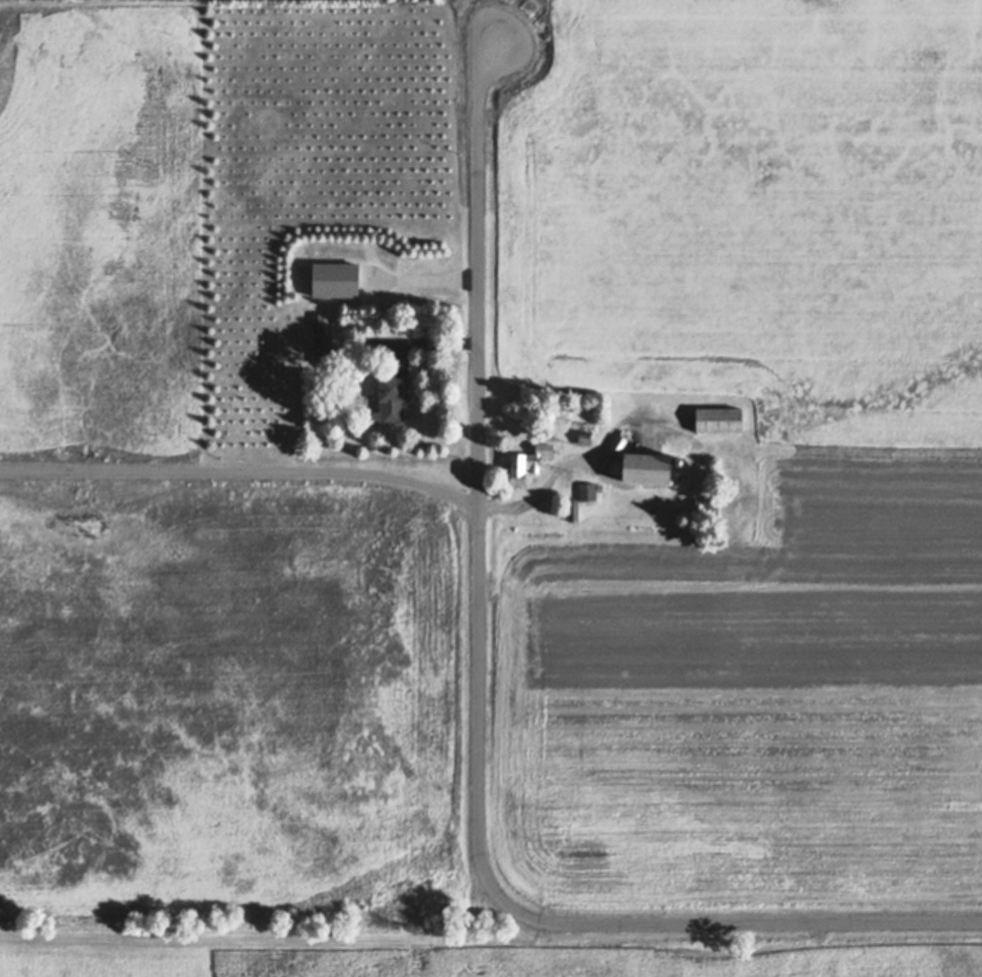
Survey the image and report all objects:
road: (424, 276)
building: (337, 280)
building: (319, 323)
building: (323, 350)
building: (392, 402)
building: (563, 406)
building: (721, 420)
building: (586, 433)
building: (622, 439)
building: (680, 461)
building: (527, 462)
building: (645, 468)
road: (242, 476)
building: (729, 480)
building: (589, 491)
building: (707, 507)
building: (573, 510)
road: (478, 719)

